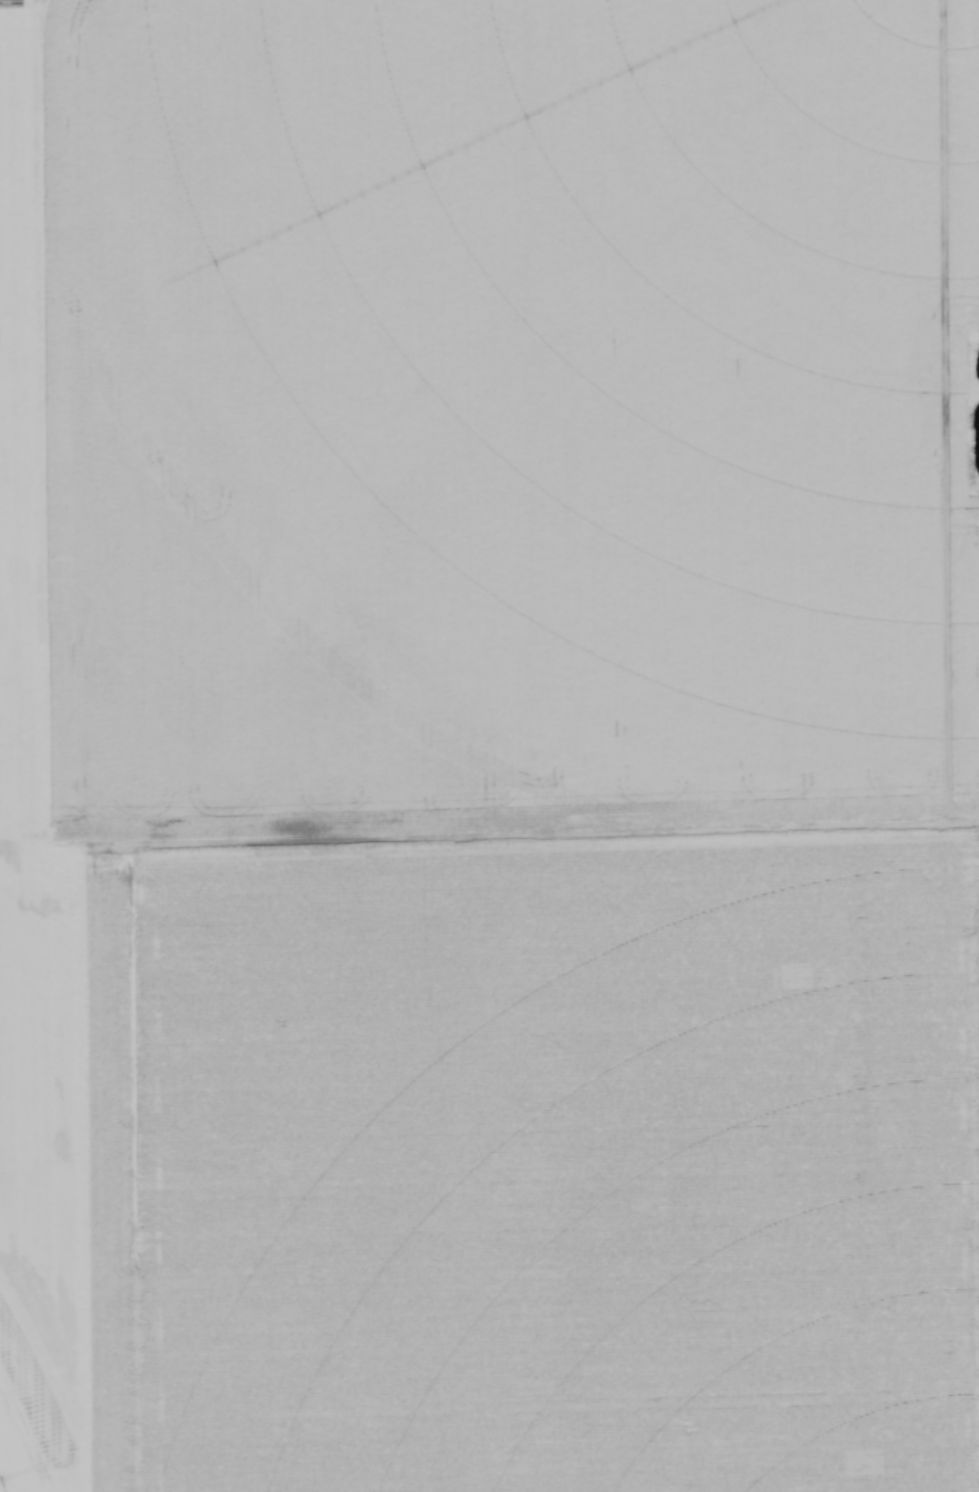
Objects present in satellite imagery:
crop: (489, 746)
road: (691, 829)
road: (851, 1160)

